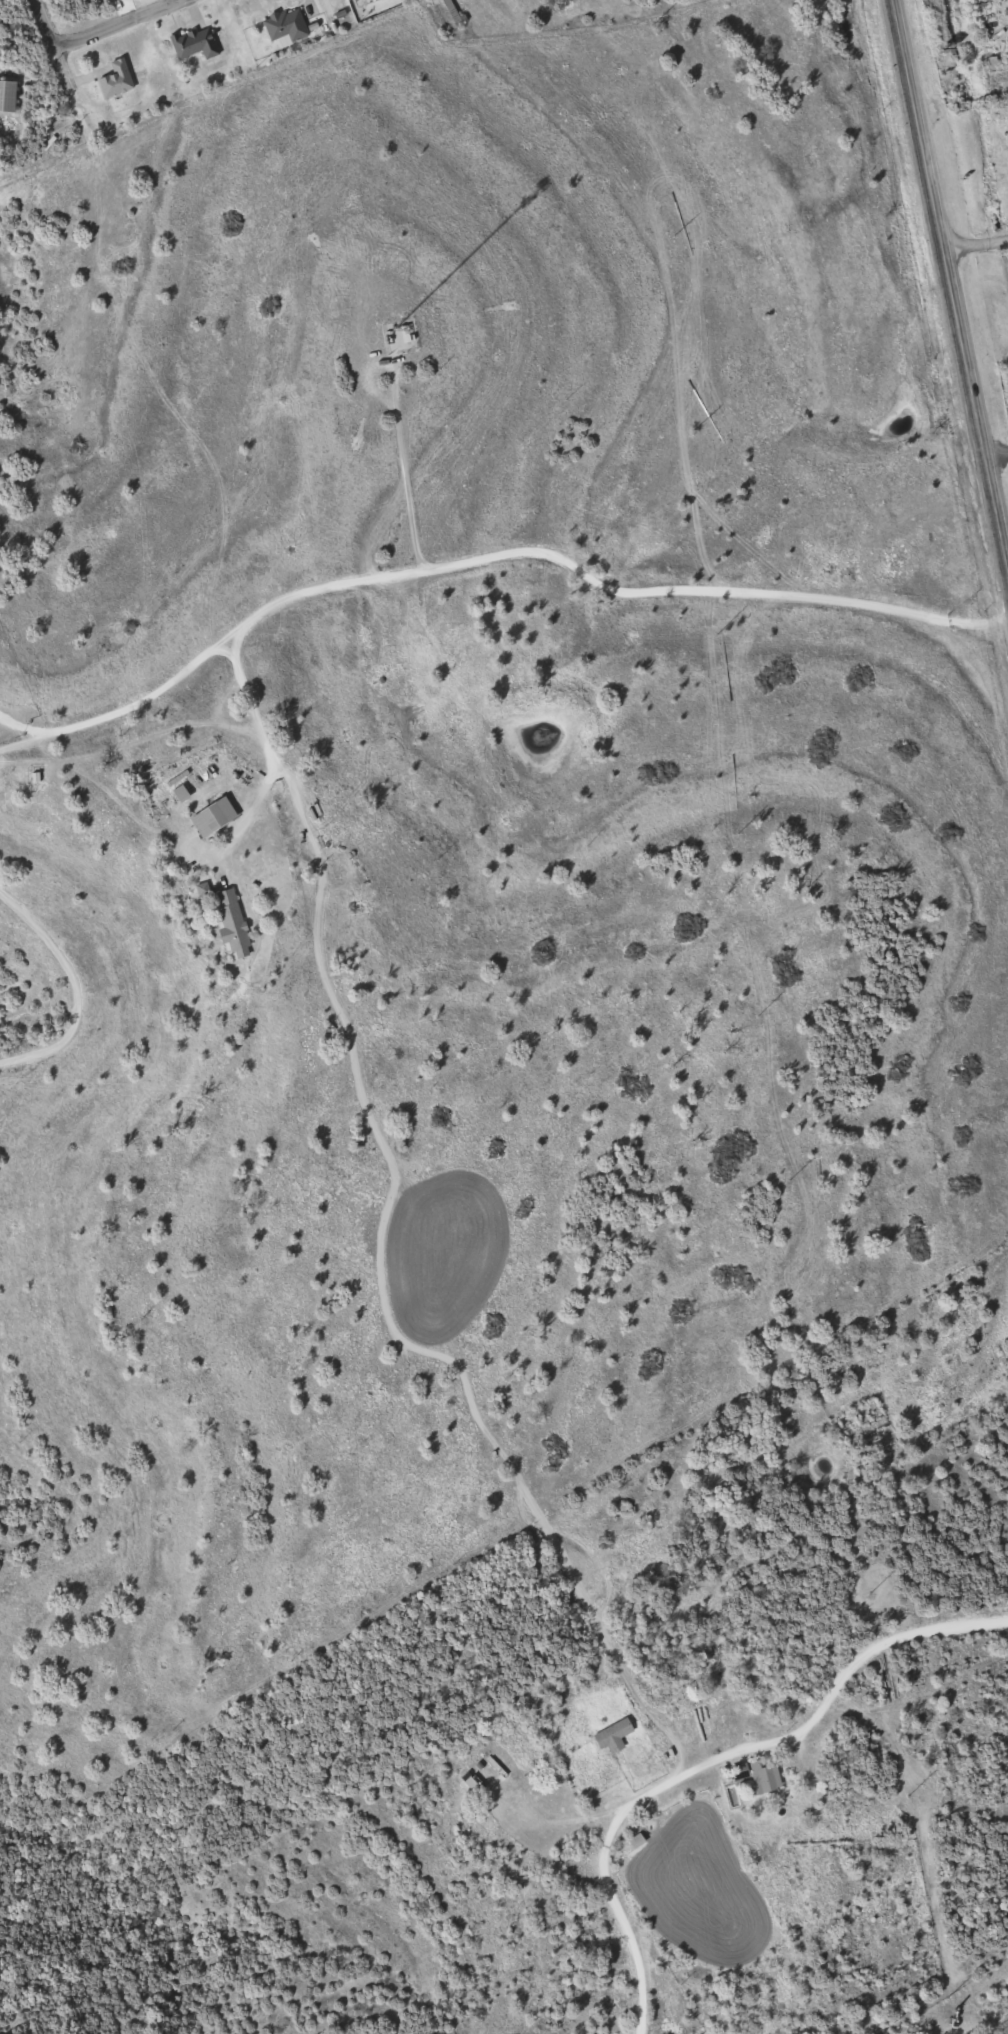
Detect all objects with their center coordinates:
building: (454, 11)
road: (117, 26)
building: (287, 26)
road: (479, 36)
building: (196, 44)
road: (55, 55)
building: (117, 81)
building: (9, 96)
road: (973, 242)
road: (948, 292)
road: (488, 555)
road: (23, 722)
road: (268, 754)
building: (217, 818)
building: (234, 923)
road: (80, 985)
building: (618, 1736)
road: (716, 1765)
building: (763, 1776)

